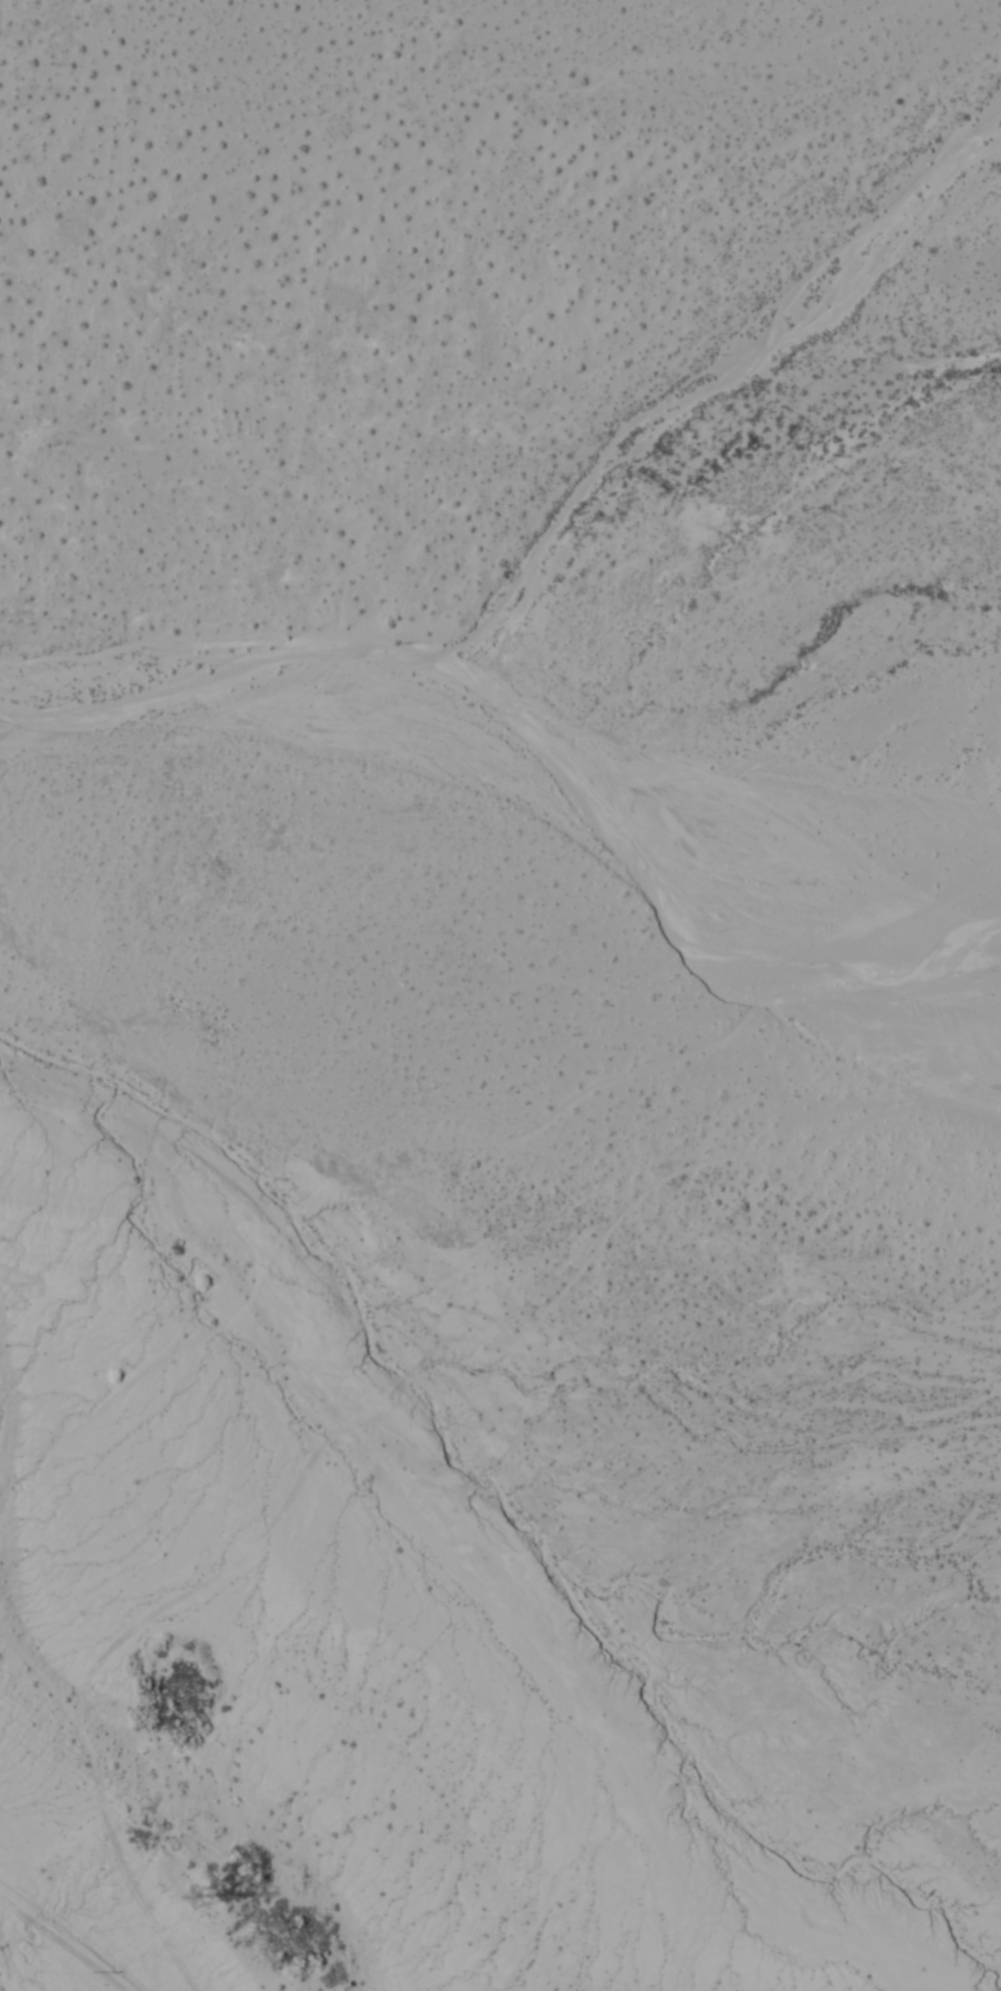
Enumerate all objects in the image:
power tower: (201, 1908)

